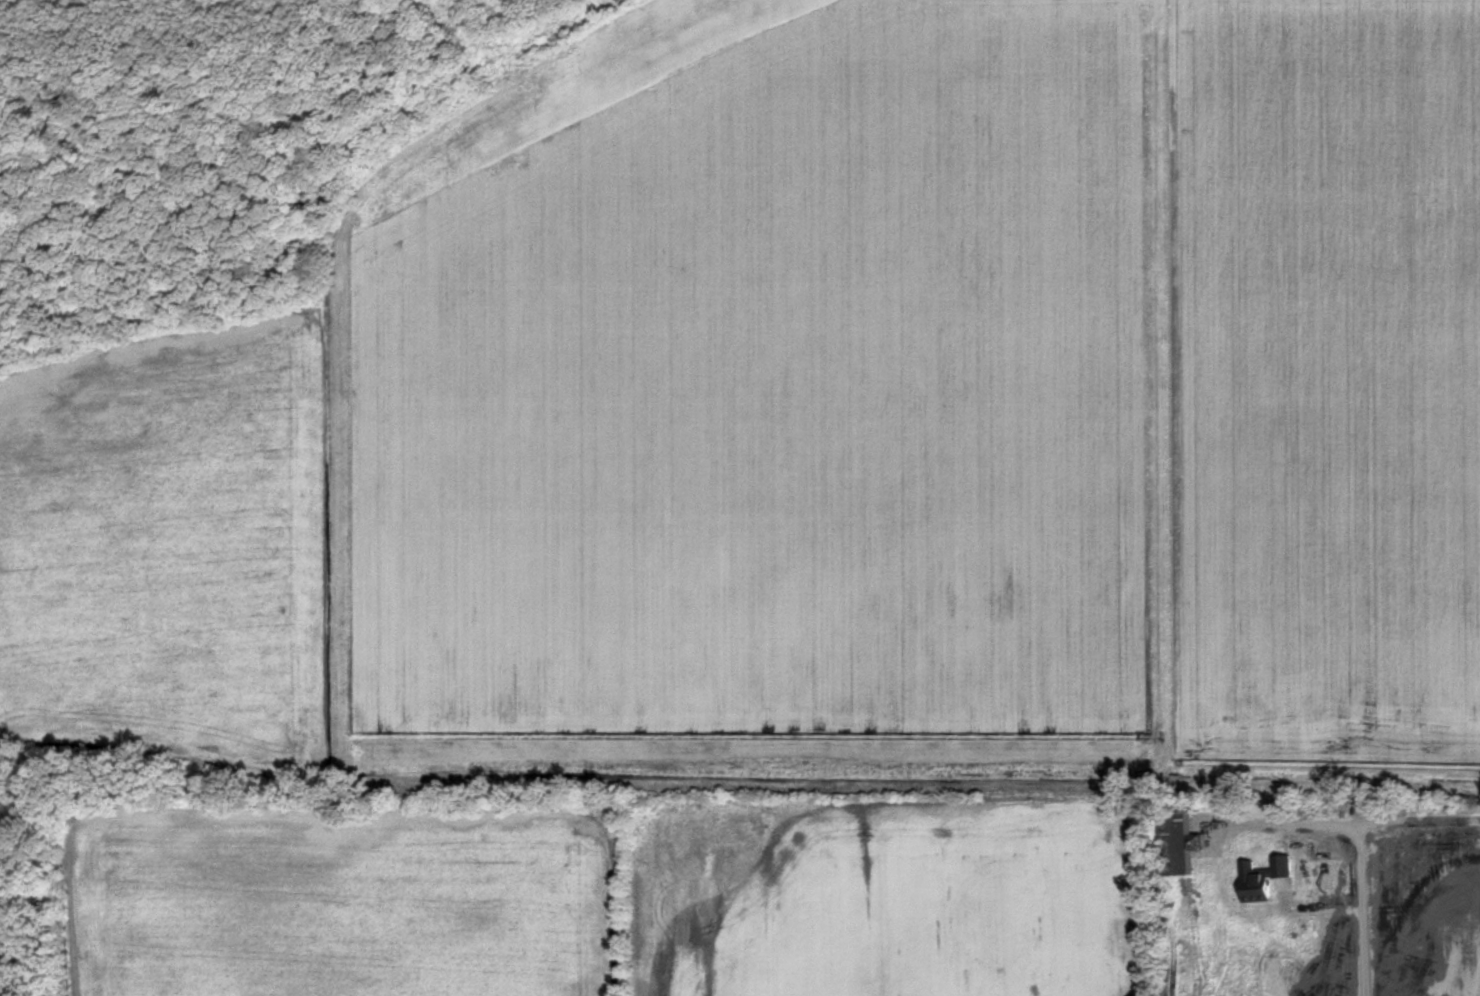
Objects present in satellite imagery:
road: (1315, 815)
building: (1176, 843)
building: (1264, 878)
road: (1363, 911)

